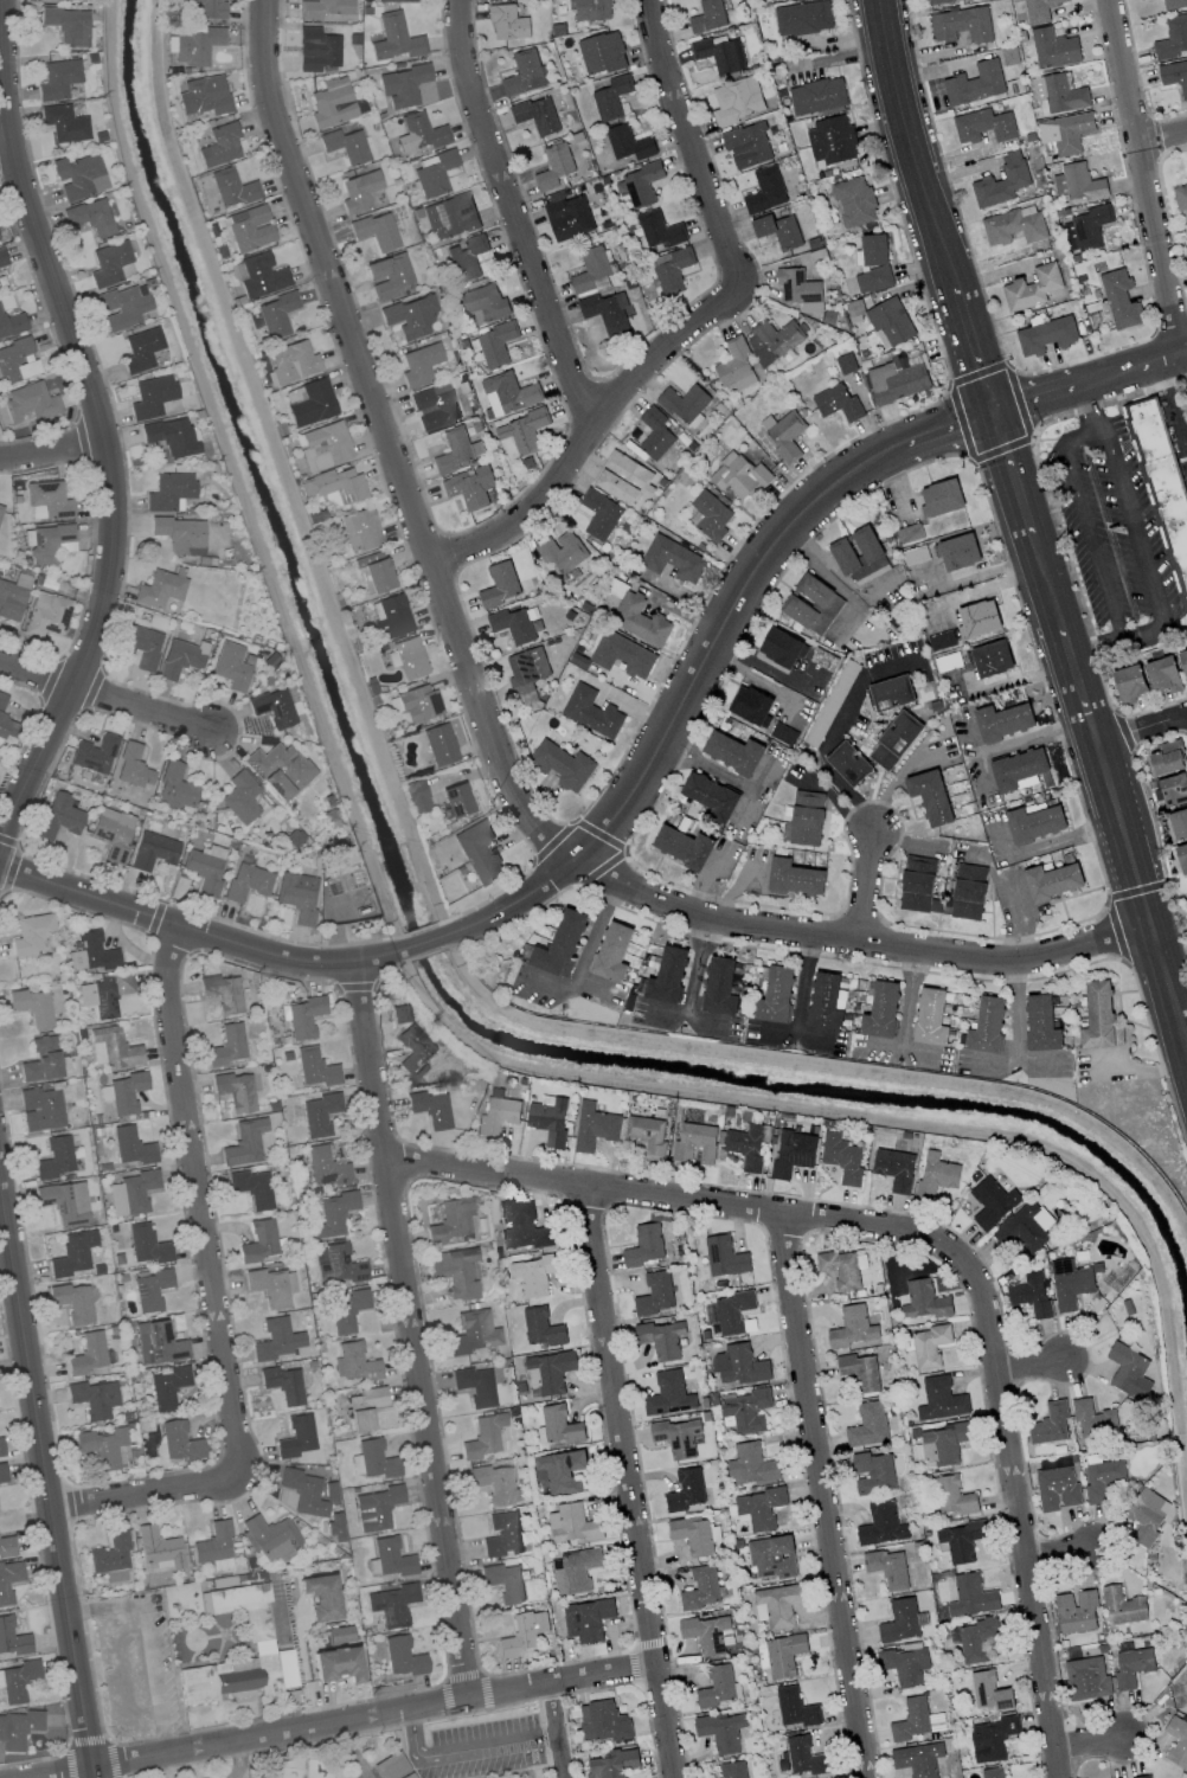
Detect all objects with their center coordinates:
building: (47, 0)
building: (399, 0)
building: (939, 1)
building: (1174, 4)
building: (322, 7)
building: (207, 8)
building: (591, 9)
building: (1039, 11)
building: (708, 17)
building: (803, 19)
building: (508, 23)
building: (68, 25)
building: (962, 25)
building: (1173, 37)
building: (394, 38)
building: (195, 45)
building: (316, 49)
building: (1053, 49)
building: (602, 53)
building: (720, 53)
building: (525, 75)
building: (1174, 76)
building: (57, 78)
building: (402, 84)
building: (975, 84)
building: (1059, 92)
building: (204, 95)
building: (817, 96)
building: (611, 97)
building: (737, 101)
building: (331, 104)
building: (537, 115)
building: (64, 123)
building: (983, 126)
building: (419, 133)
building: (1066, 133)
road: (1161, 139)
building: (830, 141)
building: (628, 143)
building: (219, 145)
building: (345, 145)
road: (689, 146)
building: (748, 146)
road: (911, 146)
road: (6, 148)
building: (554, 167)
building: (434, 172)
building: (78, 175)
road: (1142, 176)
building: (1001, 181)
building: (1079, 182)
building: (641, 184)
building: (231, 187)
building: (358, 191)
building: (765, 191)
building: (1180, 197)
building: (854, 203)
road: (514, 214)
building: (449, 216)
building: (90, 217)
building: (569, 218)
building: (1013, 226)
building: (249, 227)
building: (1089, 227)
building: (376, 230)
building: (777, 230)
building: (659, 231)
building: (2, 258)
building: (466, 258)
building: (110, 263)
building: (873, 264)
building: (672, 269)
building: (591, 271)
building: (261, 275)
building: (387, 275)
building: (1032, 288)
building: (800, 289)
building: (1119, 299)
building: (483, 304)
building: (123, 306)
building: (607, 313)
building: (276, 314)
building: (409, 316)
building: (890, 322)
building: (12, 325)
building: (1046, 336)
building: (774, 341)
building: (495, 345)
building: (142, 348)
road: (973, 351)
road: (1185, 352)
road: (1160, 359)
building: (17, 360)
building: (290, 362)
building: (419, 364)
building: (736, 366)
road: (1110, 374)
building: (896, 381)
building: (508, 393)
building: (152, 396)
road: (1035, 398)
building: (31, 402)
building: (436, 402)
road: (1105, 402)
building: (312, 403)
building: (838, 403)
building: (685, 405)
road: (1089, 407)
traffic signals: (990, 412)
road: (97, 423)
road: (585, 430)
road: (943, 430)
building: (522, 431)
road: (1104, 431)
building: (655, 434)
building: (784, 435)
building: (171, 436)
building: (323, 445)
road: (51, 449)
road: (1000, 449)
building: (456, 450)
road: (1010, 471)
building: (739, 476)
building: (623, 479)
building: (1162, 482)
building: (333, 486)
building: (468, 487)
building: (169, 490)
building: (49, 499)
building: (941, 499)
building: (0, 508)
building: (599, 515)
building: (710, 516)
building: (360, 529)
building: (907, 534)
parking lot: (1110, 534)
building: (50, 543)
building: (562, 552)
building: (958, 552)
building: (859, 556)
building: (673, 559)
building: (373, 572)
road: (827, 578)
road: (1047, 580)
building: (499, 585)
building: (160, 589)
building: (12, 597)
building: (811, 605)
road: (756, 610)
building: (46, 614)
building: (391, 615)
building: (979, 618)
building: (639, 620)
building: (514, 625)
building: (142, 646)
building: (779, 648)
road: (1096, 649)
building: (622, 655)
building: (408, 656)
building: (180, 657)
building: (992, 659)
building: (1183, 662)
building: (232, 666)
building: (526, 673)
building: (1163, 675)
road: (1078, 683)
building: (1129, 683)
building: (890, 693)
road: (101, 695)
building: (1, 700)
road: (679, 702)
building: (418, 704)
building: (832, 704)
building: (750, 705)
building: (272, 707)
building: (591, 712)
building: (1002, 721)
road: (488, 725)
building: (7, 726)
road: (1141, 726)
road: (830, 732)
road: (681, 739)
building: (894, 740)
building: (439, 744)
building: (733, 752)
building: (94, 753)
road: (673, 758)
building: (1166, 758)
building: (848, 764)
building: (563, 765)
building: (131, 766)
building: (1016, 769)
building: (280, 770)
road: (739, 781)
building: (174, 789)
building: (1174, 789)
building: (710, 795)
building: (239, 796)
building: (417, 796)
building: (930, 796)
building: (456, 800)
building: (58, 816)
building: (807, 819)
building: (1034, 823)
building: (1179, 823)
building: (111, 833)
road: (905, 840)
building: (684, 847)
building: (152, 851)
building: (479, 852)
building: (1182, 858)
building: (204, 867)
road: (602, 867)
building: (794, 878)
building: (248, 881)
building: (1052, 881)
building: (918, 885)
road: (865, 887)
road: (1142, 891)
building: (968, 892)
road: (1, 893)
building: (297, 896)
road: (77, 909)
road: (515, 919)
road: (193, 931)
building: (31, 932)
building: (560, 944)
road: (418, 945)
road: (168, 946)
building: (90, 951)
road: (428, 952)
building: (612, 952)
road: (261, 969)
road: (389, 970)
building: (668, 976)
building: (720, 986)
road: (354, 987)
building: (223, 991)
building: (103, 993)
building: (776, 995)
road: (802, 1000)
building: (825, 1002)
building: (27, 1004)
building: (880, 1009)
road: (1016, 1010)
building: (400, 1013)
building: (301, 1014)
building: (930, 1018)
building: (1099, 1018)
building: (1041, 1023)
building: (986, 1026)
building: (226, 1045)
building: (111, 1047)
building: (413, 1051)
building: (40, 1059)
building: (314, 1066)
building: (233, 1090)
building: (122, 1091)
building: (40, 1108)
building: (430, 1108)
building: (496, 1112)
building: (319, 1113)
building: (548, 1119)
building: (593, 1127)
building: (647, 1135)
building: (243, 1141)
building: (694, 1142)
building: (130, 1144)
building: (746, 1145)
building: (791, 1153)
building: (54, 1157)
building: (842, 1158)
building: (325, 1166)
building: (894, 1169)
building: (936, 1175)
building: (251, 1187)
building: (130, 1192)
building: (65, 1200)
road: (675, 1200)
road: (199, 1201)
building: (992, 1202)
building: (332, 1213)
building: (451, 1219)
building: (521, 1226)
building: (1025, 1227)
building: (258, 1241)
building: (146, 1244)
building: (644, 1246)
building: (72, 1252)
building: (725, 1257)
building: (336, 1265)
building: (840, 1269)
building: (455, 1272)
building: (535, 1273)
building: (1071, 1283)
building: (269, 1286)
building: (150, 1290)
building: (655, 1294)
building: (1031, 1295)
building: (923, 1301)
building: (72, 1302)
building: (346, 1310)
building: (541, 1327)
building: (852, 1328)
road: (412, 1330)
building: (473, 1330)
building: (661, 1339)
building: (276, 1340)
building: (158, 1343)
building: (930, 1346)
building: (86, 1354)
building: (352, 1362)
building: (739, 1365)
road: (1028, 1365)
building: (548, 1371)
building: (859, 1372)
building: (1129, 1372)
building: (283, 1385)
building: (475, 1385)
building: (166, 1386)
building: (668, 1394)
building: (92, 1399)
building: (941, 1400)
building: (364, 1406)
building: (746, 1411)
building: (1092, 1419)
building: (559, 1425)
building: (867, 1425)
building: (1050, 1425)
building: (482, 1434)
building: (296, 1436)
building: (678, 1437)
building: (179, 1442)
building: (943, 1444)
building: (103, 1445)
building: (1, 1448)
building: (376, 1458)
building: (751, 1466)
building: (559, 1470)
building: (2, 1474)
building: (872, 1474)
building: (1103, 1479)
road: (628, 1481)
building: (495, 1483)
road: (44, 1489)
building: (1057, 1489)
building: (686, 1490)
road: (143, 1491)
building: (307, 1491)
building: (954, 1496)
road: (825, 1497)
building: (376, 1506)
building: (759, 1508)
building: (1148, 1515)
road: (1018, 1516)
building: (571, 1523)
building: (881, 1525)
building: (333, 1526)
building: (502, 1534)
building: (270, 1535)
building: (695, 1535)
building: (961, 1541)
building: (213, 1545)
building: (6, 1546)
building: (158, 1546)
road: (1053, 1546)
building: (110, 1556)
building: (391, 1556)
building: (772, 1558)
building: (888, 1568)
building: (576, 1570)
building: (8, 1578)
building: (503, 1581)
building: (701, 1588)
building: (319, 1596)
building: (971, 1596)
building: (391, 1603)
building: (778, 1605)
building: (1122, 1606)
building: (1076, 1612)
building: (586, 1619)
building: (900, 1622)
building: (522, 1632)
building: (338, 1633)
building: (708, 1633)
building: (12, 1637)
road: (154, 1638)
building: (975, 1641)
building: (282, 1642)
building: (262, 1645)
building: (781, 1655)
building: (402, 1656)
building: (335, 1663)
building: (905, 1665)
building: (1131, 1667)
building: (1086, 1678)
building: (18, 1680)
building: (237, 1680)
building: (719, 1688)
building: (989, 1692)
building: (242, 1693)
building: (795, 1708)
building: (916, 1720)
road: (346, 1721)
building: (603, 1721)
building: (18, 1728)
building: (721, 1731)
building: (990, 1739)
building: (1176, 1740)
road: (1087, 1741)
road: (487, 1746)
building: (804, 1757)
road: (238, 1759)
building: (917, 1759)
building: (614, 1764)
building: (390, 1766)
building: (733, 1770)
building: (993, 1773)
road: (66, 1774)
building: (408, 1776)
building: (1142, 1777)

